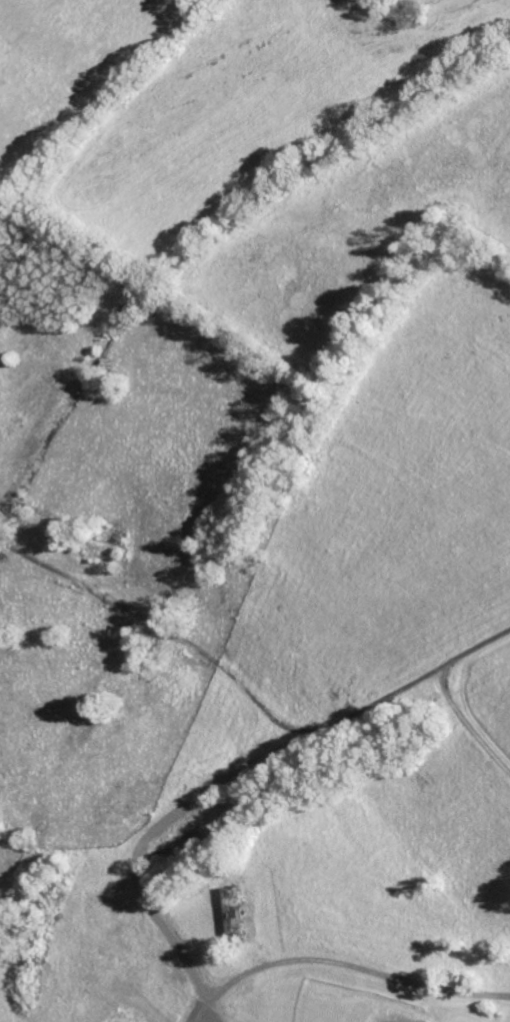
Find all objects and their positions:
building: (236, 915)
road: (342, 962)

